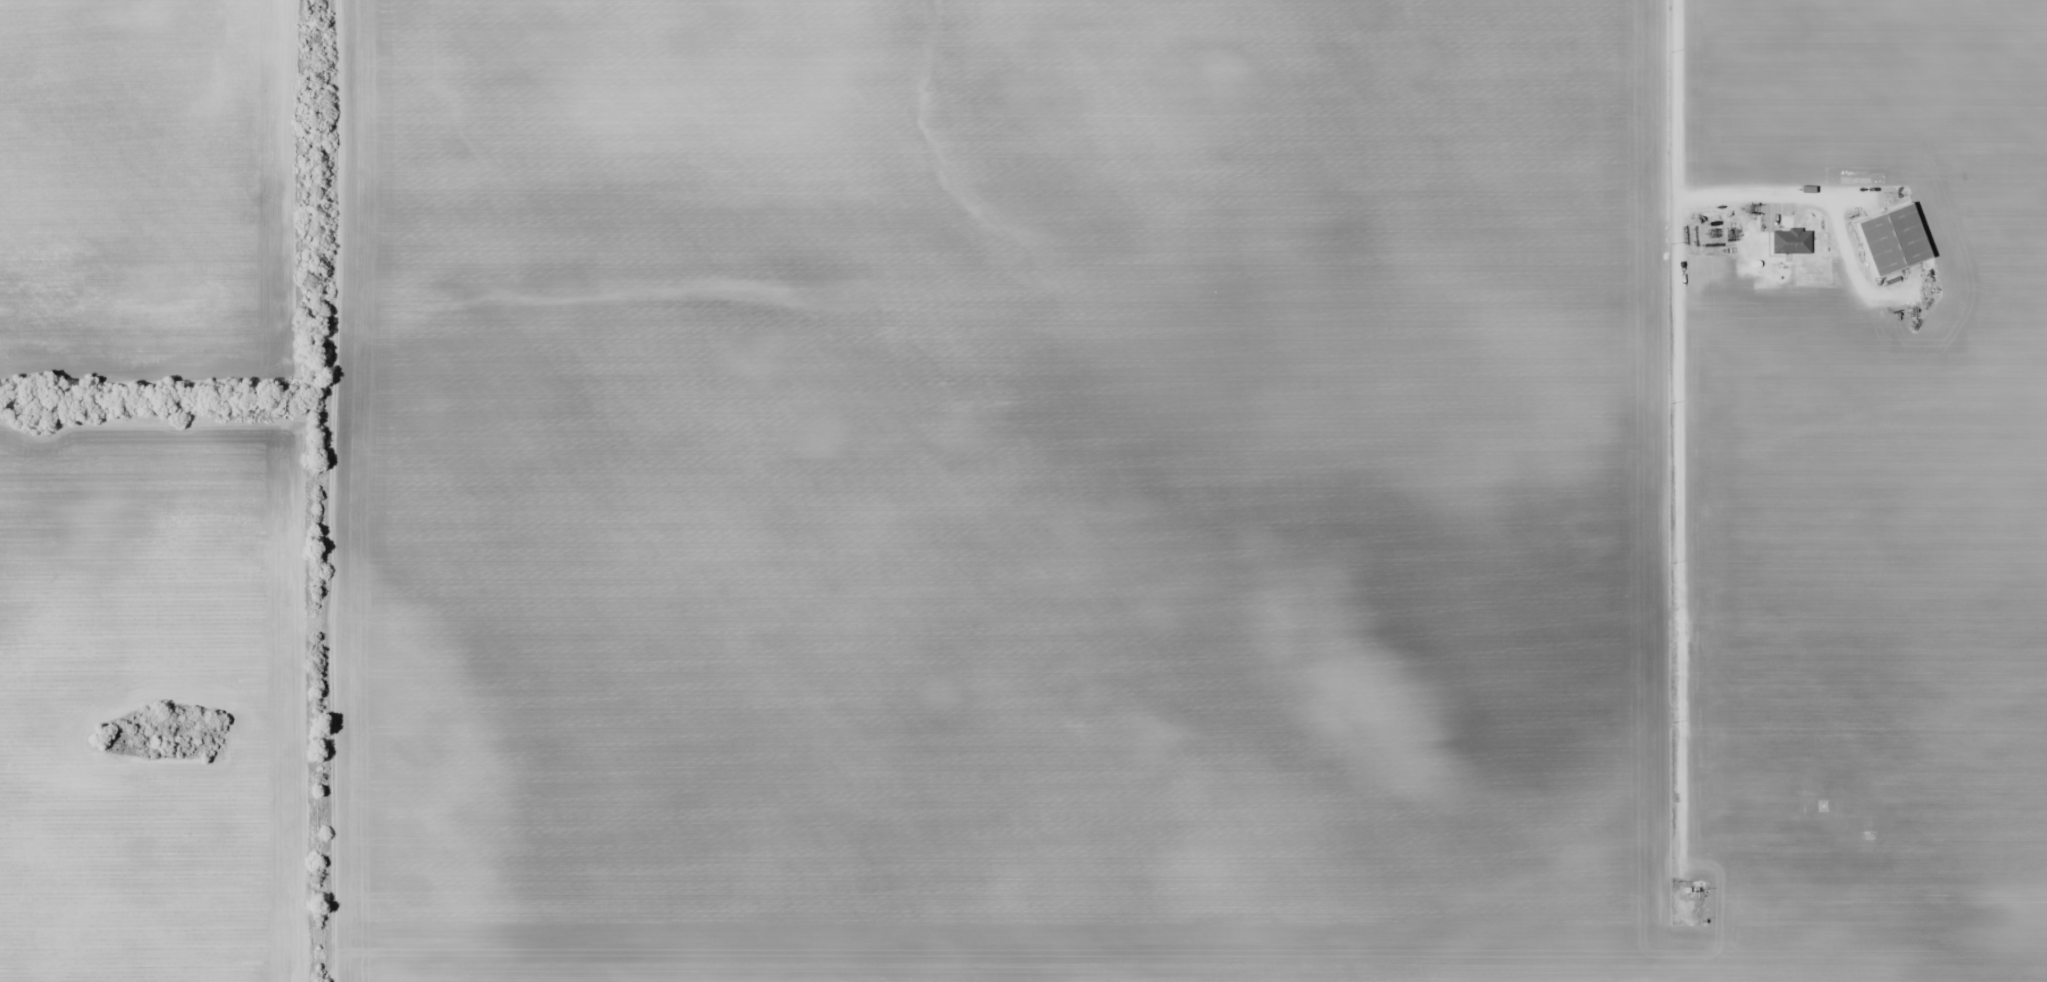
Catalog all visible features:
road: (1733, 193)
building: (1893, 239)
building: (1790, 241)
road: (1678, 536)

